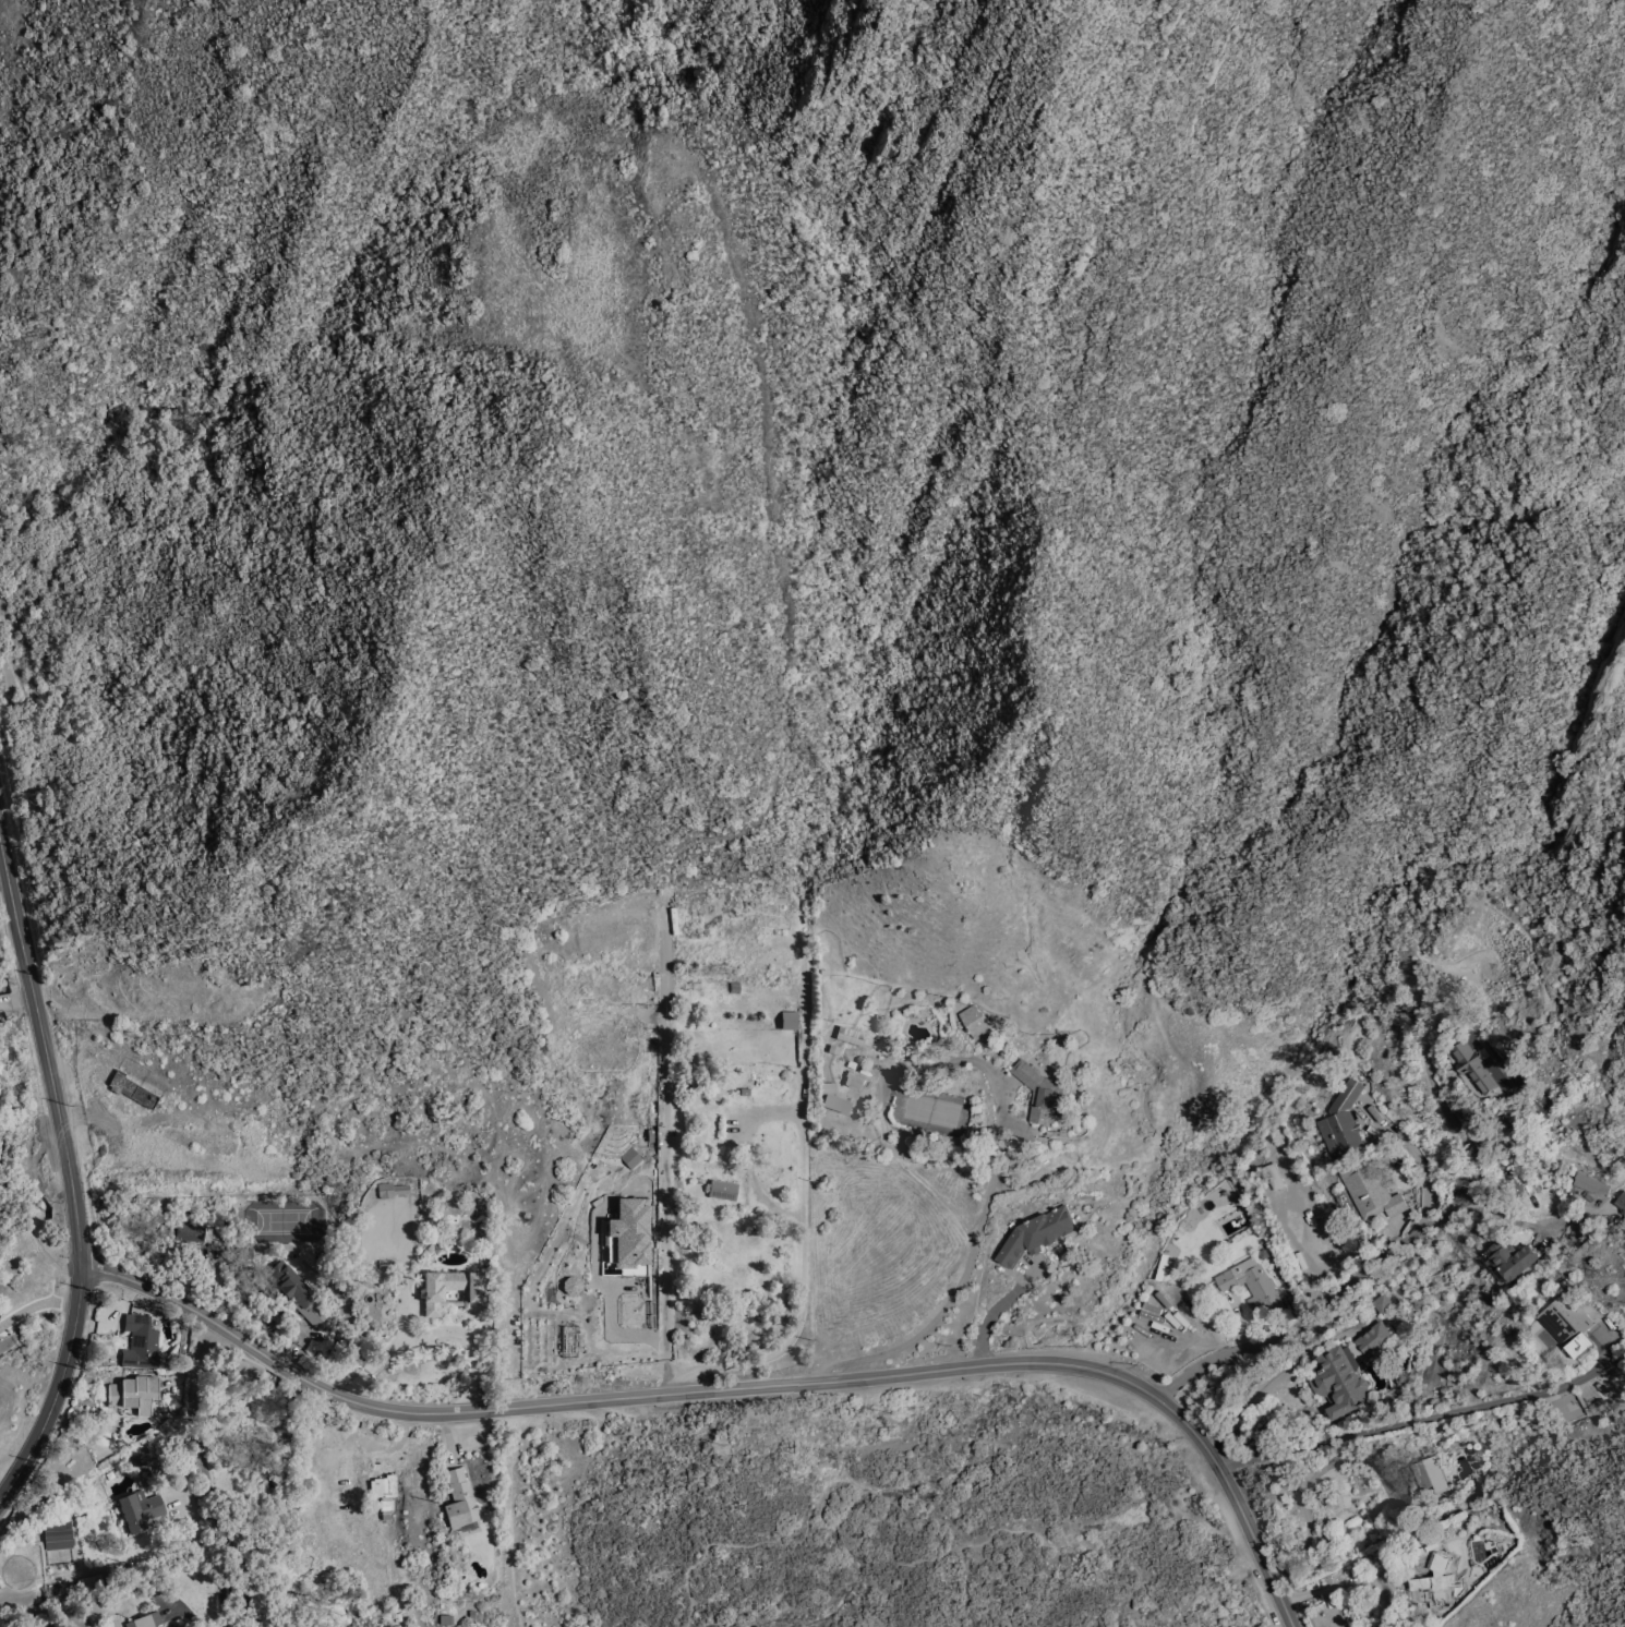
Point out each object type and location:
road: (16, 1002)
building: (791, 1021)
building: (976, 1022)
building: (852, 1037)
building: (1474, 1066)
building: (855, 1082)
building: (829, 1089)
building: (132, 1092)
building: (1043, 1096)
road: (1437, 1100)
building: (839, 1105)
building: (1344, 1122)
building: (1020, 1148)
building: (911, 1153)
road: (664, 1155)
building: (104, 1157)
building: (1276, 1177)
road: (72, 1183)
building: (1589, 1184)
building: (1370, 1189)
building: (392, 1191)
building: (724, 1191)
building: (1621, 1202)
road: (1498, 1217)
road: (804, 1221)
building: (191, 1233)
building: (628, 1234)
building: (1037, 1234)
building: (1510, 1261)
road: (967, 1272)
building: (1252, 1285)
building: (292, 1288)
building: (435, 1295)
road: (1348, 1302)
building: (1382, 1304)
road: (37, 1305)
road: (995, 1315)
road: (402, 1318)
building: (1568, 1326)
road: (433, 1336)
building: (142, 1343)
building: (1348, 1371)
road: (741, 1388)
building: (135, 1396)
road: (1248, 1410)
road: (1407, 1425)
building: (80, 1466)
road: (212, 1473)
building: (1430, 1474)
road: (1305, 1483)
building: (386, 1486)
building: (461, 1501)
building: (141, 1511)
road: (509, 1518)
building: (59, 1536)
road: (894, 1536)
road: (1365, 1574)
building: (97, 1582)
building: (1435, 1582)
building: (147, 1622)
building: (164, 1626)
building: (1405, 1626)

